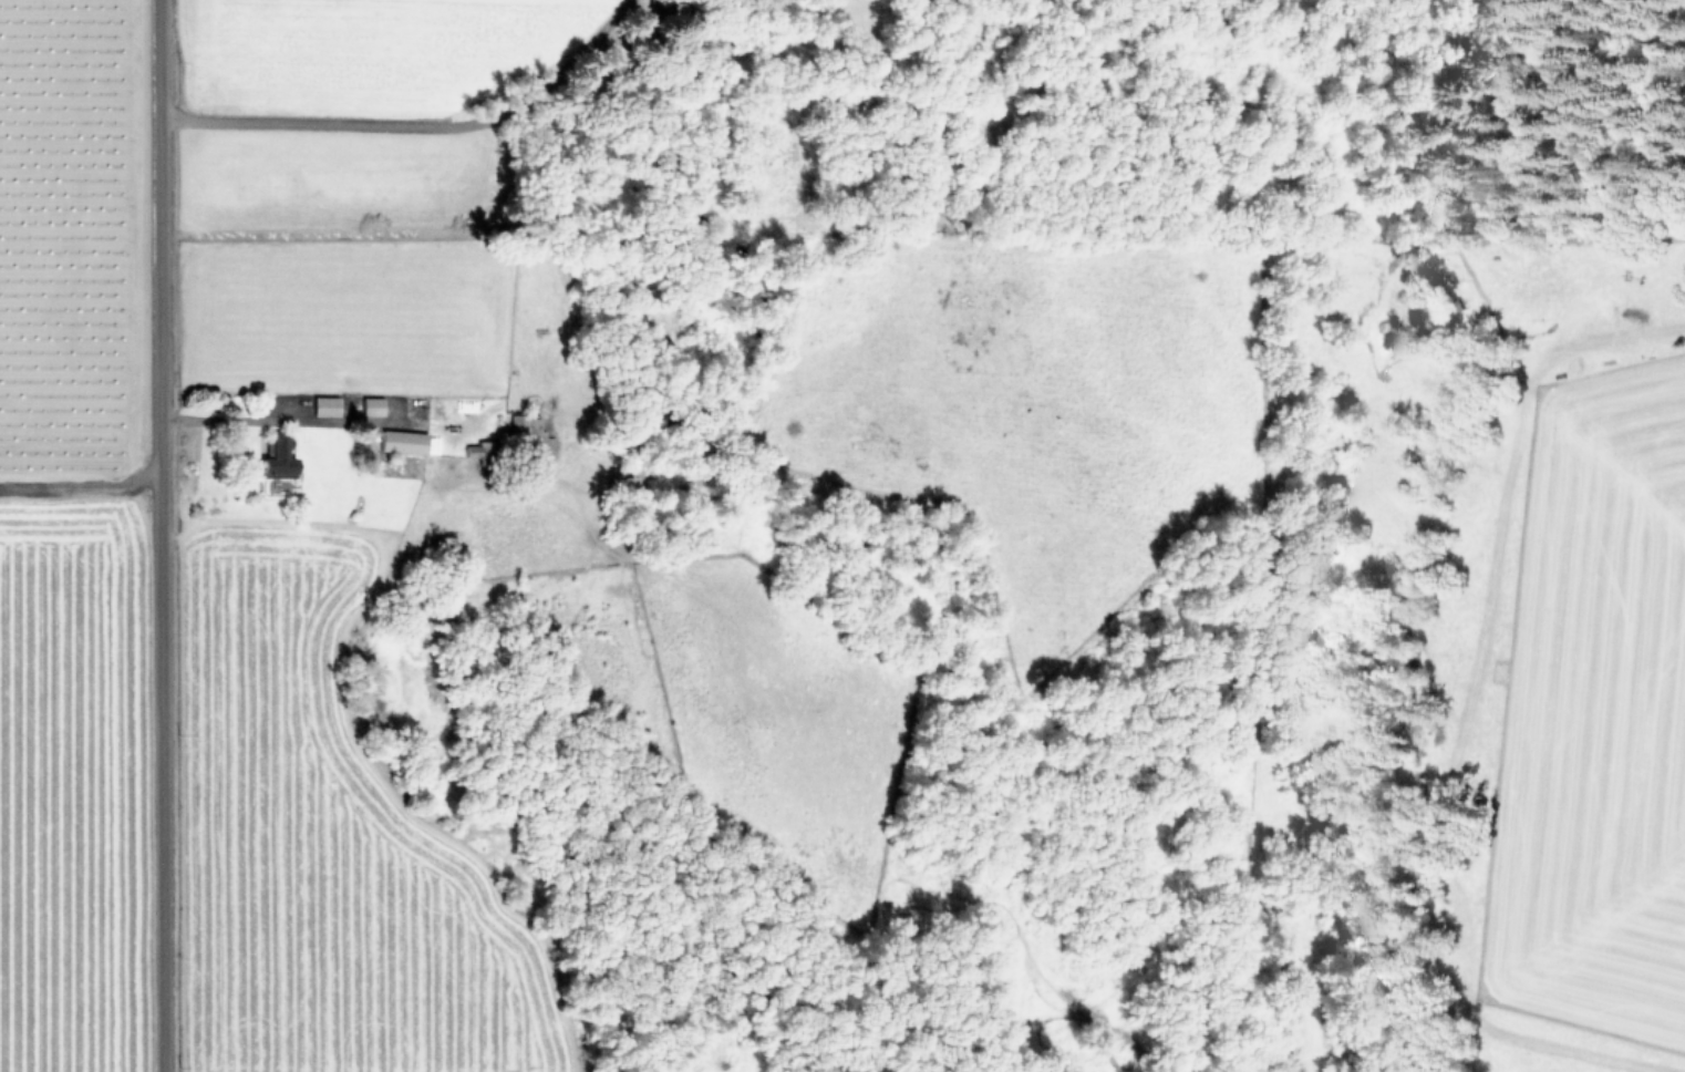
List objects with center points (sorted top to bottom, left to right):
road: (412, 122)
building: (323, 405)
building: (371, 405)
road: (218, 416)
building: (515, 424)
building: (536, 434)
building: (401, 441)
building: (480, 450)
building: (276, 458)
crop: (358, 523)
road: (157, 536)
river: (1200, 559)
crop: (1594, 686)

